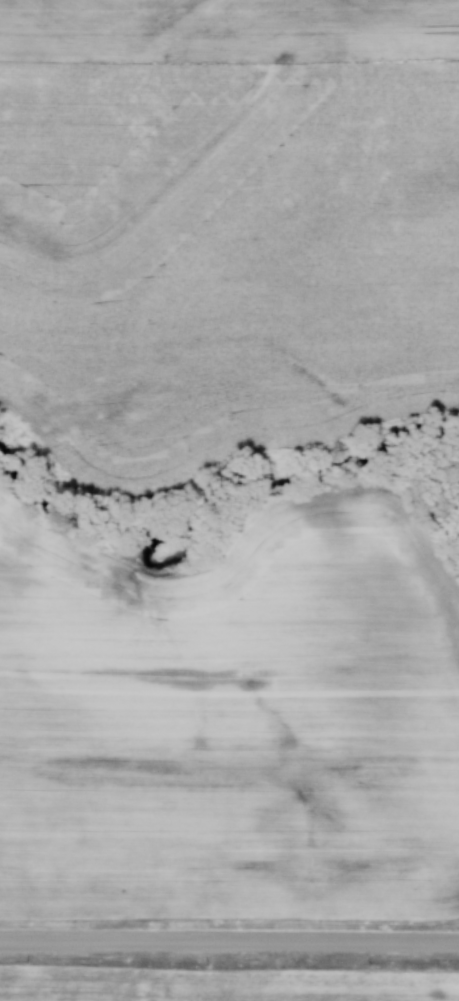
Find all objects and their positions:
road: (229, 945)

